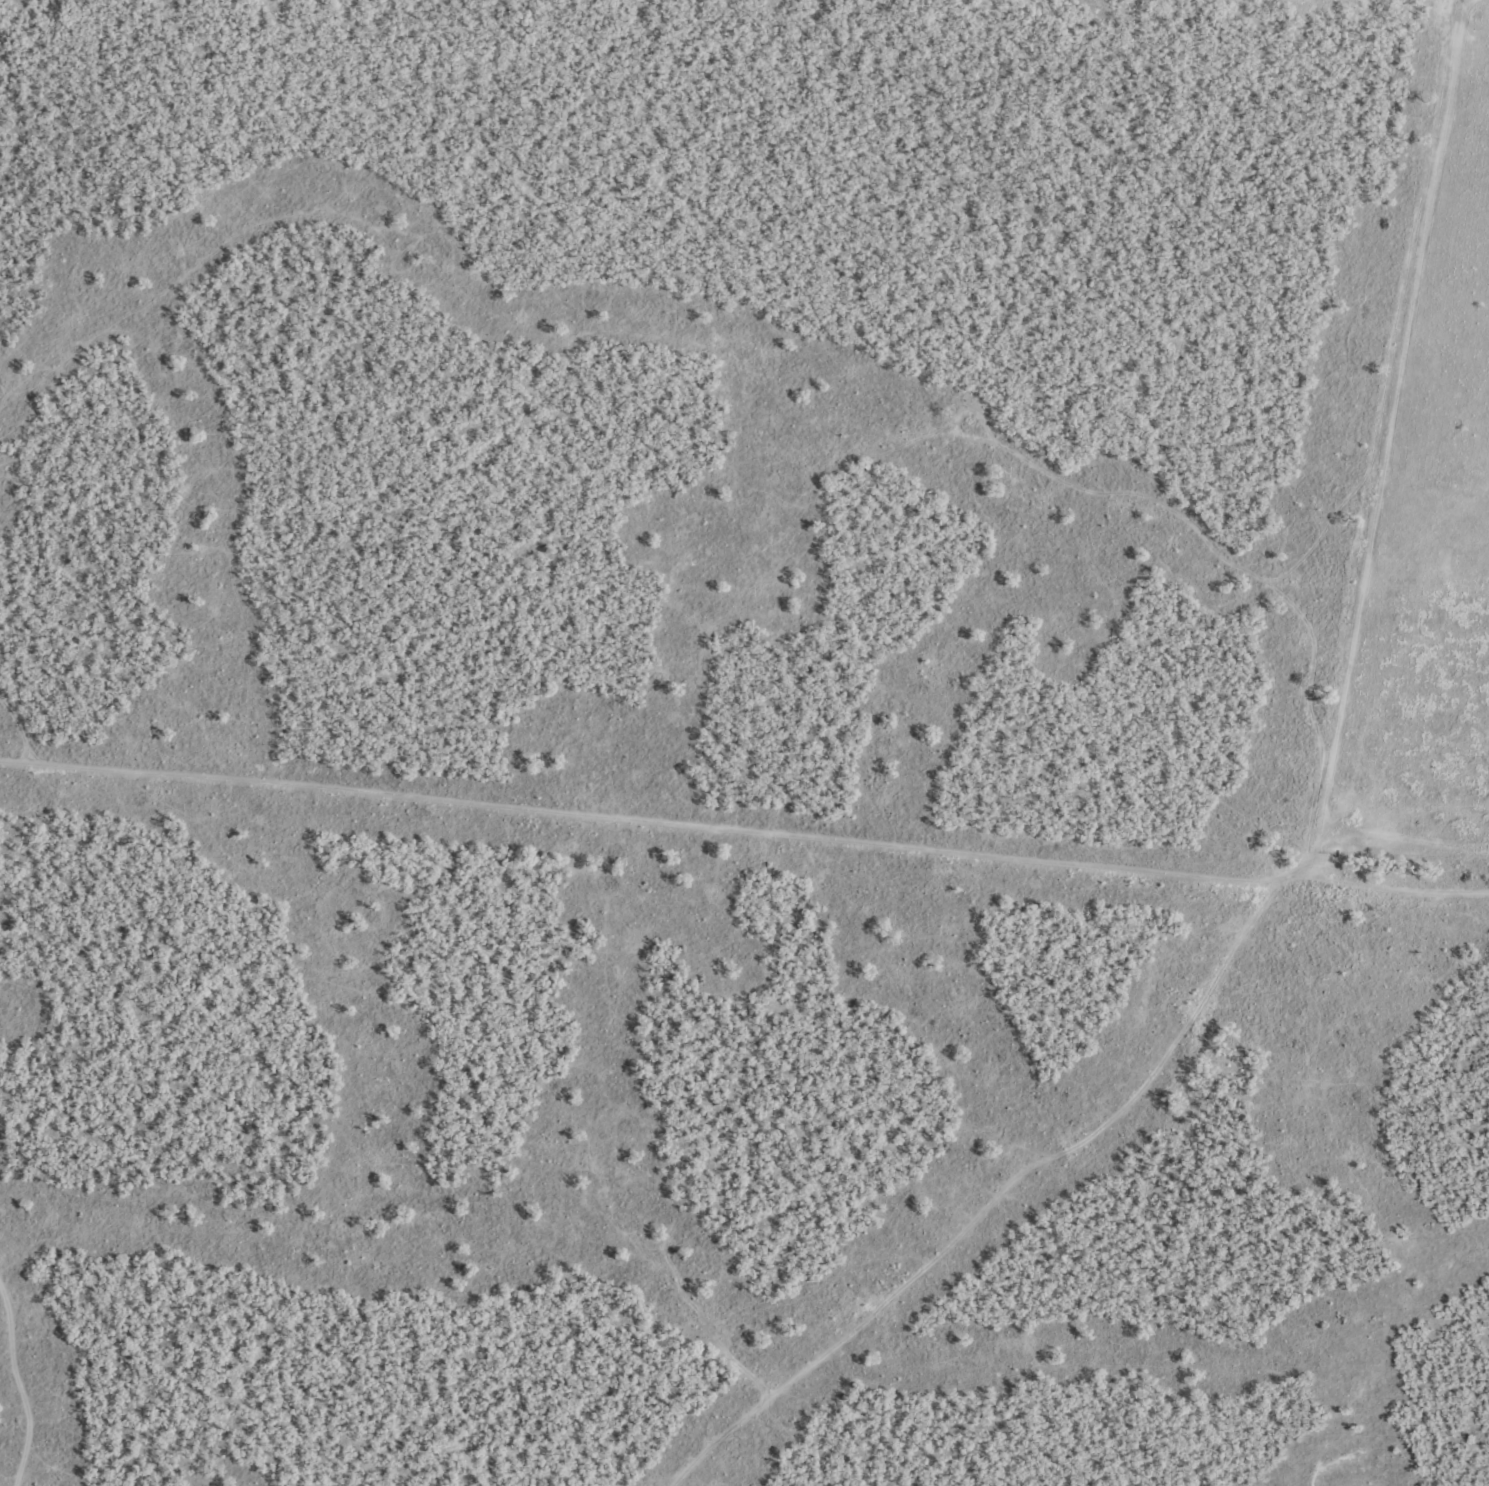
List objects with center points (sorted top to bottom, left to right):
road: (1242, 1120)

